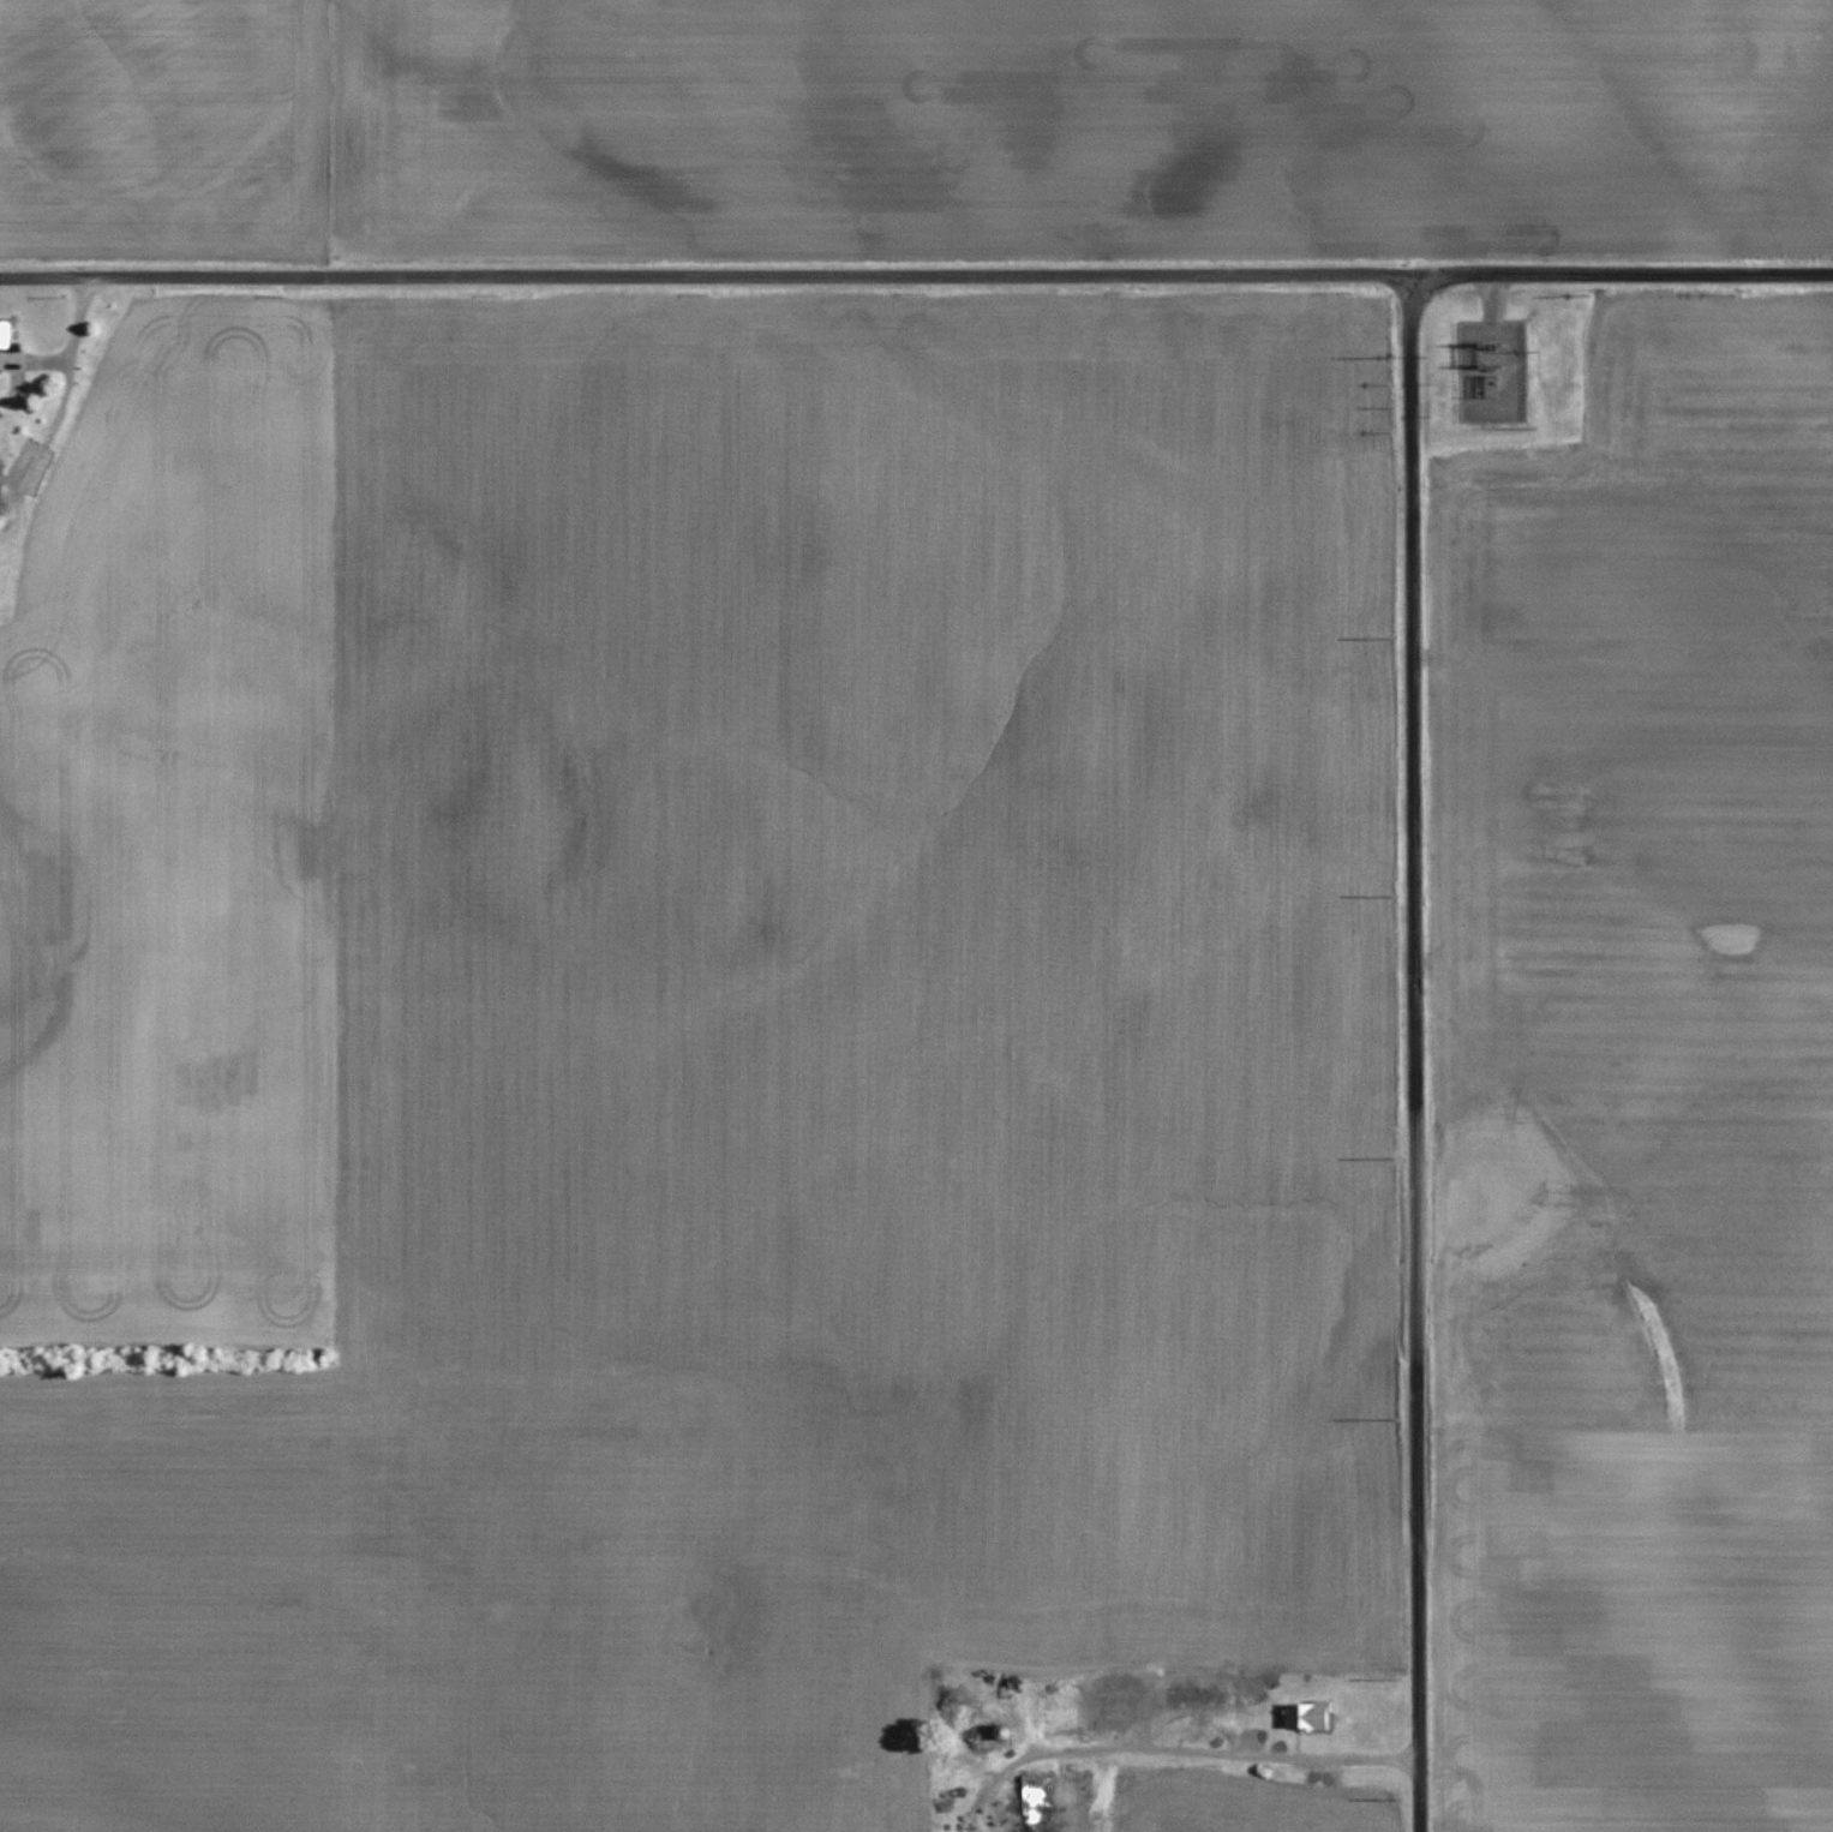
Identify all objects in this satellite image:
crop: (1080, 124)
road: (1622, 275)
road: (705, 279)
road: (1493, 298)
power substation: (1493, 371)
crop: (176, 849)
road: (1415, 1053)
crop: (780, 1090)
crop: (1641, 1102)
road: (1145, 1728)
road: (1217, 1754)
crop: (1239, 1818)

